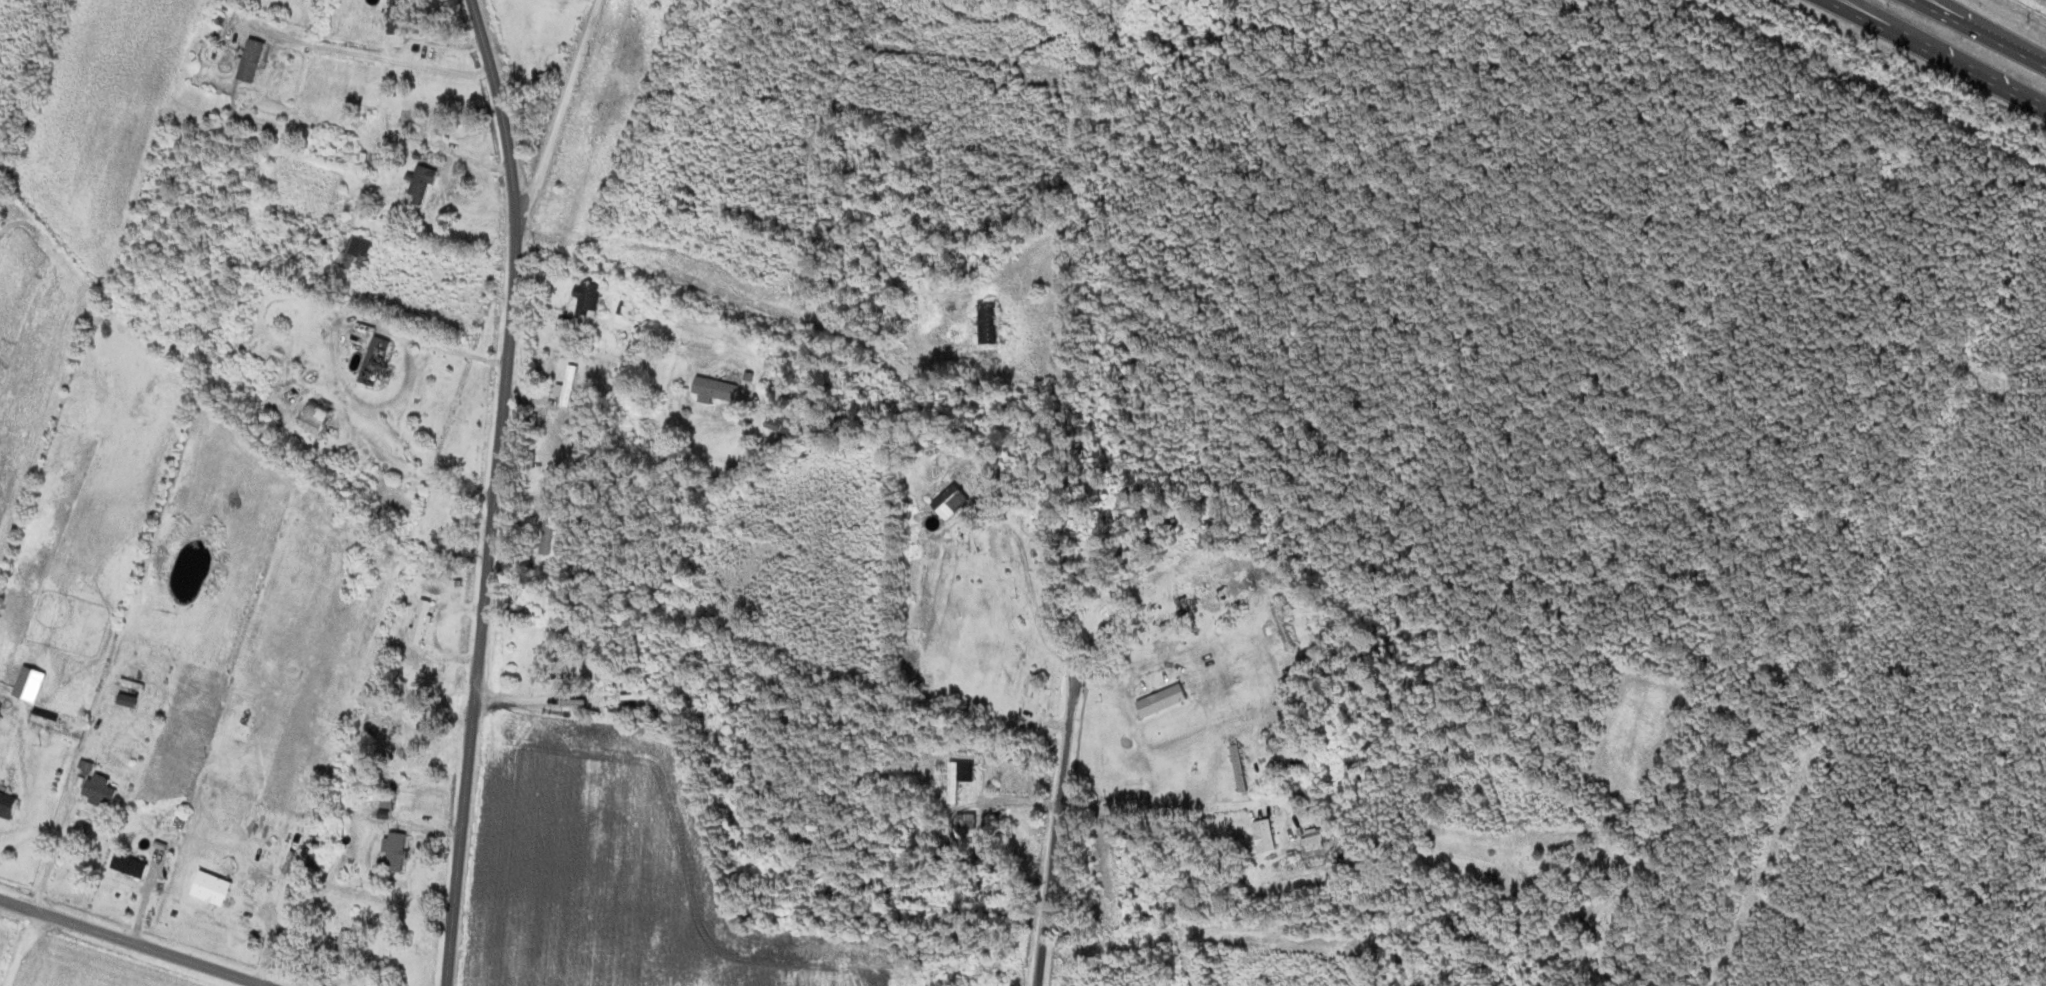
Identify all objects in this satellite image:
road: (1869, 14)
road: (1994, 32)
road: (1979, 33)
road: (1937, 55)
building: (254, 60)
road: (503, 116)
road: (560, 119)
building: (423, 183)
building: (357, 252)
building: (590, 297)
building: (992, 321)
building: (379, 361)
building: (574, 384)
building: (718, 389)
building: (318, 418)
building: (784, 421)
building: (955, 501)
building: (551, 526)
road: (485, 611)
building: (423, 621)
building: (1287, 625)
building: (40, 677)
building: (137, 678)
building: (1165, 700)
building: (6, 728)
building: (1277, 738)
road: (1065, 753)
building: (1242, 767)
building: (963, 777)
building: (8, 784)
building: (103, 790)
building: (390, 802)
building: (970, 821)
building: (1268, 834)
building: (399, 851)
building: (132, 866)
building: (1492, 880)
building: (215, 888)
road: (1243, 924)
road: (128, 945)
building: (347, 948)

